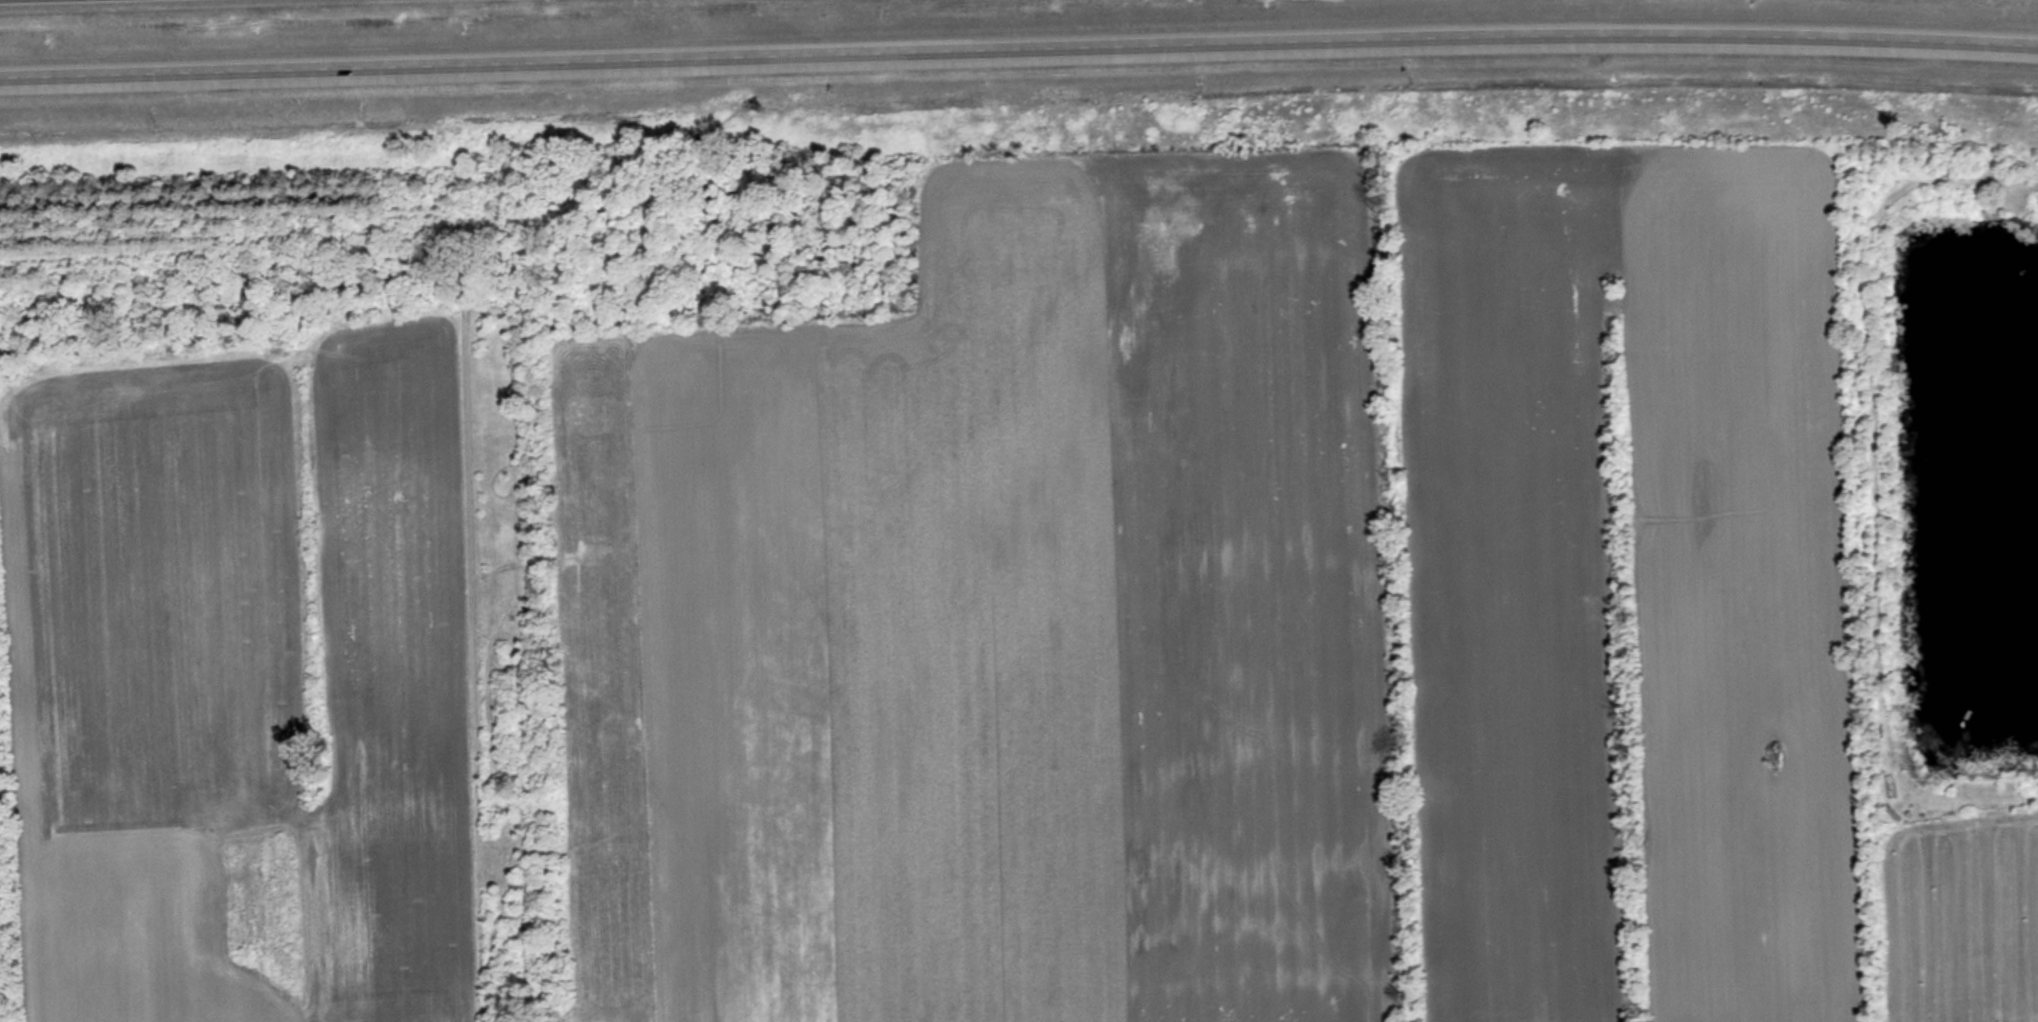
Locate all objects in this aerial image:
road: (1019, 47)

